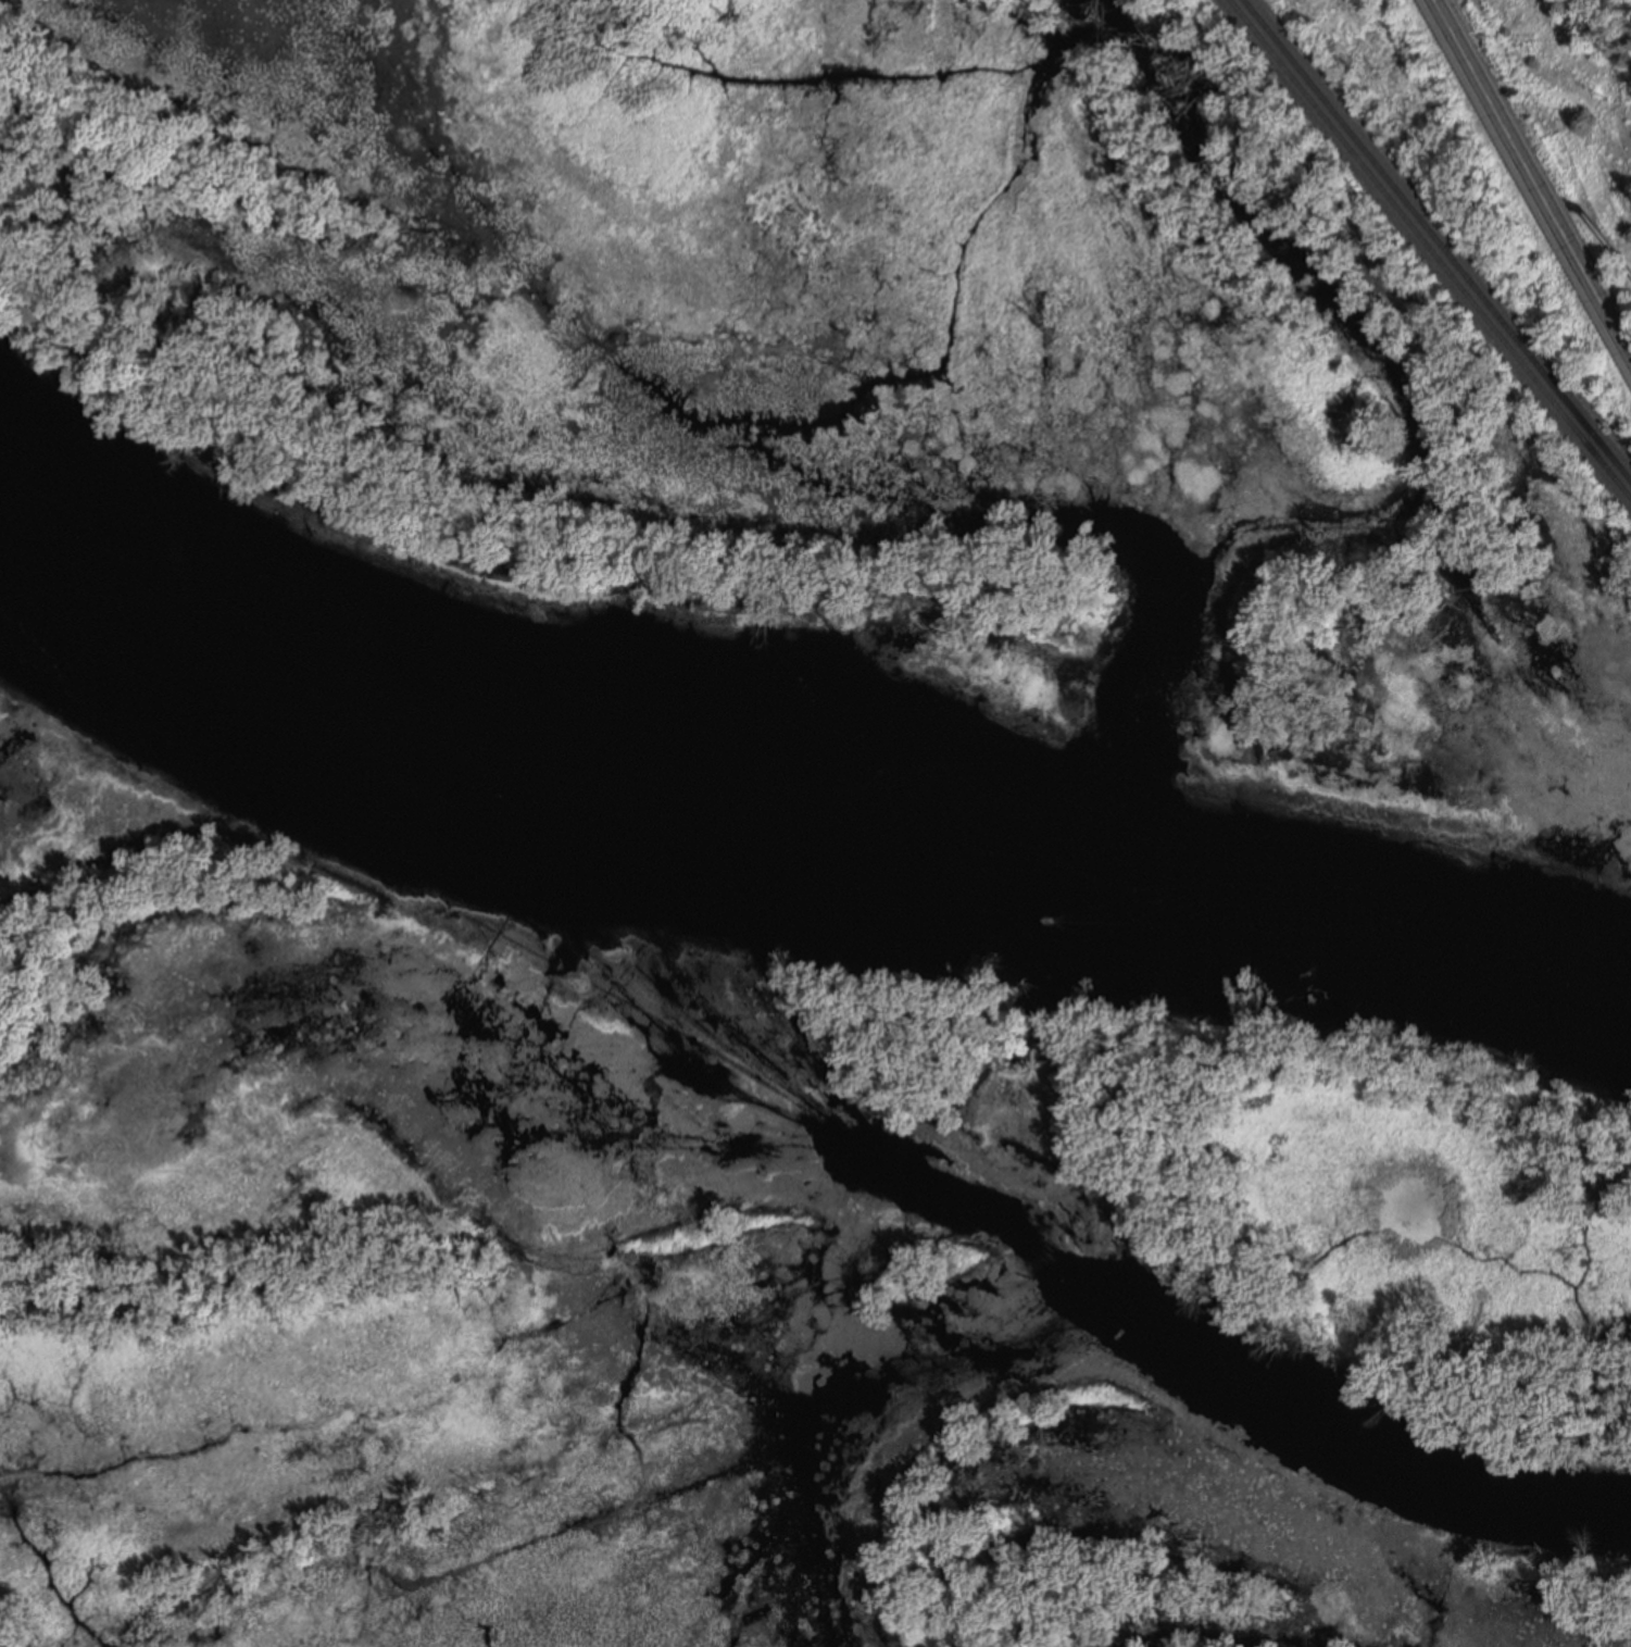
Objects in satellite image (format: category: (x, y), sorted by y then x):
road: (1533, 178)
railway: (1438, 239)
railway: (1431, 247)

